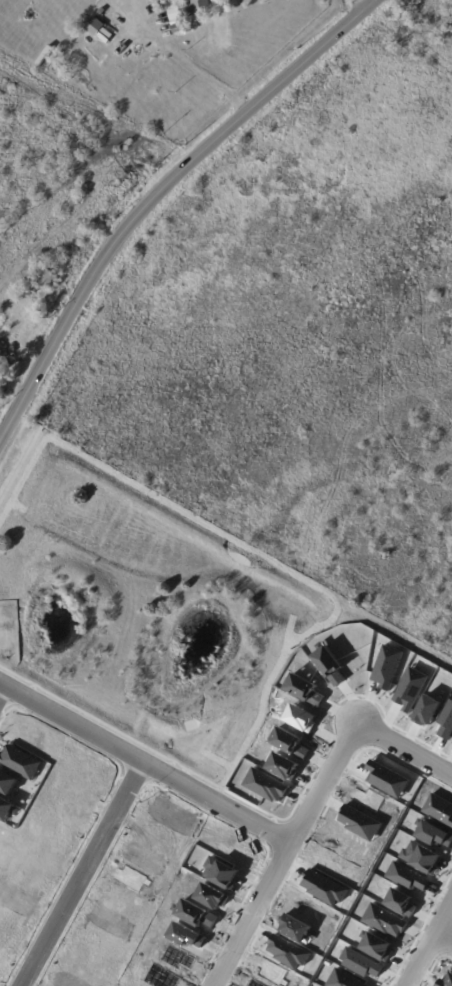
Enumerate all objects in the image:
road: (365, 1)
building: (190, 9)
building: (95, 27)
building: (178, 29)
building: (107, 34)
building: (103, 39)
building: (56, 68)
road: (154, 194)
building: (48, 281)
building: (1, 352)
building: (14, 352)
building: (1, 375)
road: (19, 466)
building: (329, 665)
building: (387, 666)
road: (2, 688)
building: (304, 689)
building: (410, 689)
road: (31, 691)
building: (426, 710)
building: (300, 717)
building: (446, 721)
building: (289, 743)
road: (405, 749)
road: (145, 763)
building: (283, 766)
road: (170, 768)
building: (386, 779)
building: (266, 785)
road: (329, 803)
building: (439, 809)
road: (260, 810)
road: (272, 823)
building: (360, 823)
building: (433, 834)
road: (285, 854)
building: (420, 857)
building: (221, 873)
road: (83, 874)
building: (407, 877)
building: (324, 887)
building: (212, 896)
building: (401, 902)
road: (442, 905)
road: (451, 909)
building: (195, 913)
building: (384, 920)
building: (296, 928)
road: (421, 929)
building: (186, 936)
road: (444, 937)
road: (430, 945)
building: (377, 946)
building: (288, 952)
building: (177, 958)
building: (360, 963)
road: (433, 966)
building: (344, 979)
building: (446, 981)

